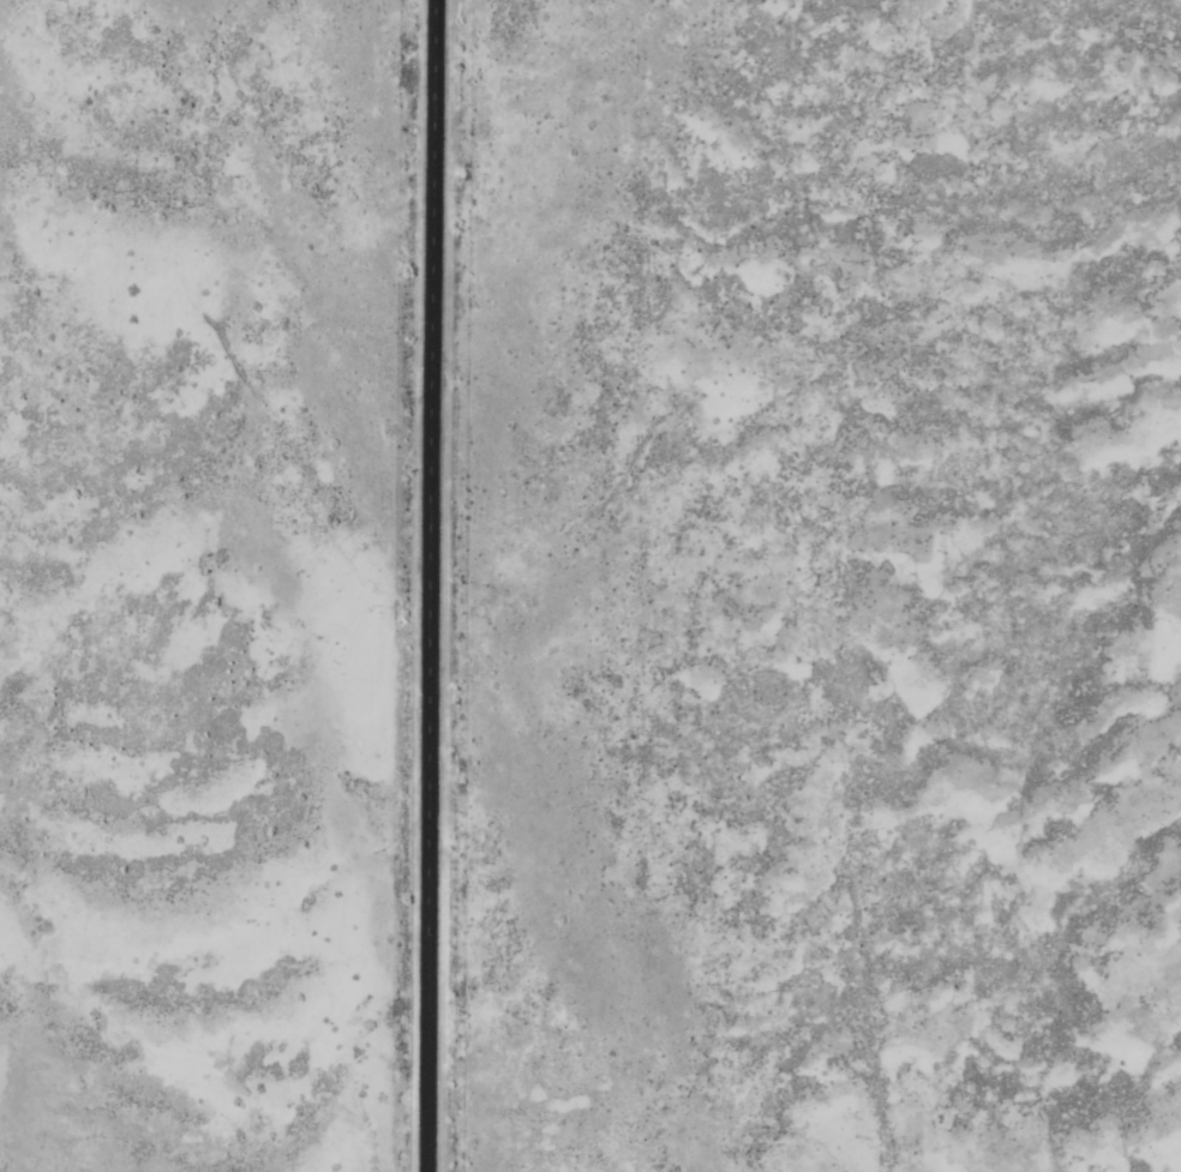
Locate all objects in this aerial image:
road: (426, 585)

